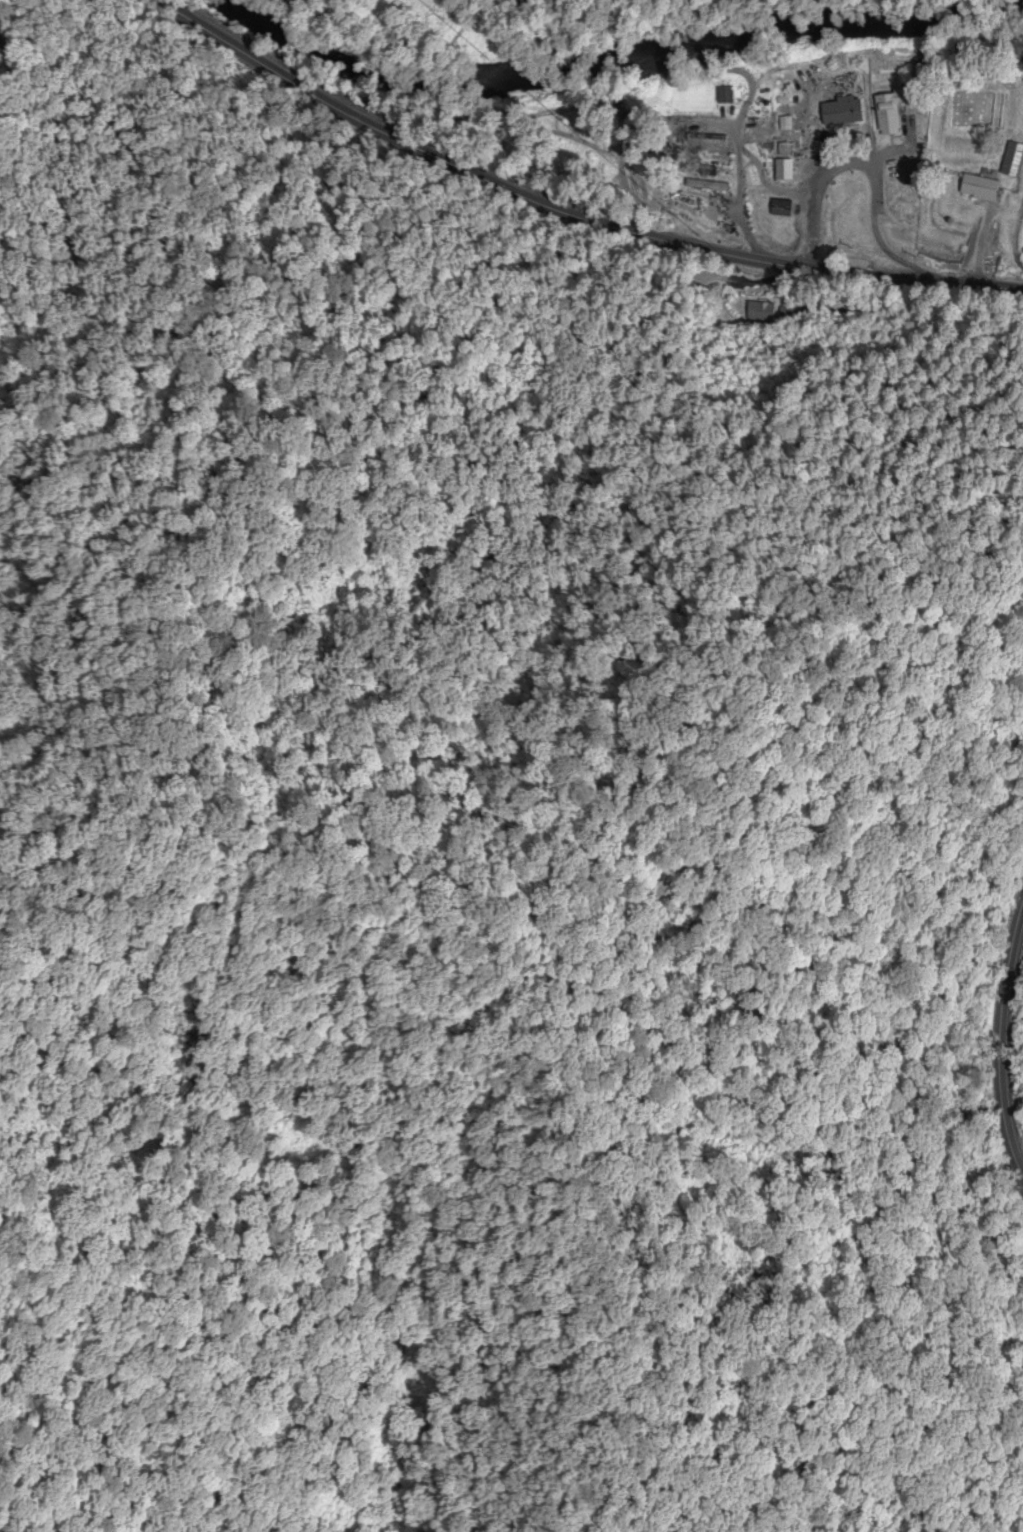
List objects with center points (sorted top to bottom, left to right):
river: (618, 64)
building: (691, 97)
building: (889, 112)
building: (840, 113)
building: (1012, 161)
building: (911, 174)
building: (978, 189)
building: (904, 214)
road: (561, 216)
building: (760, 313)
road: (1000, 1043)

